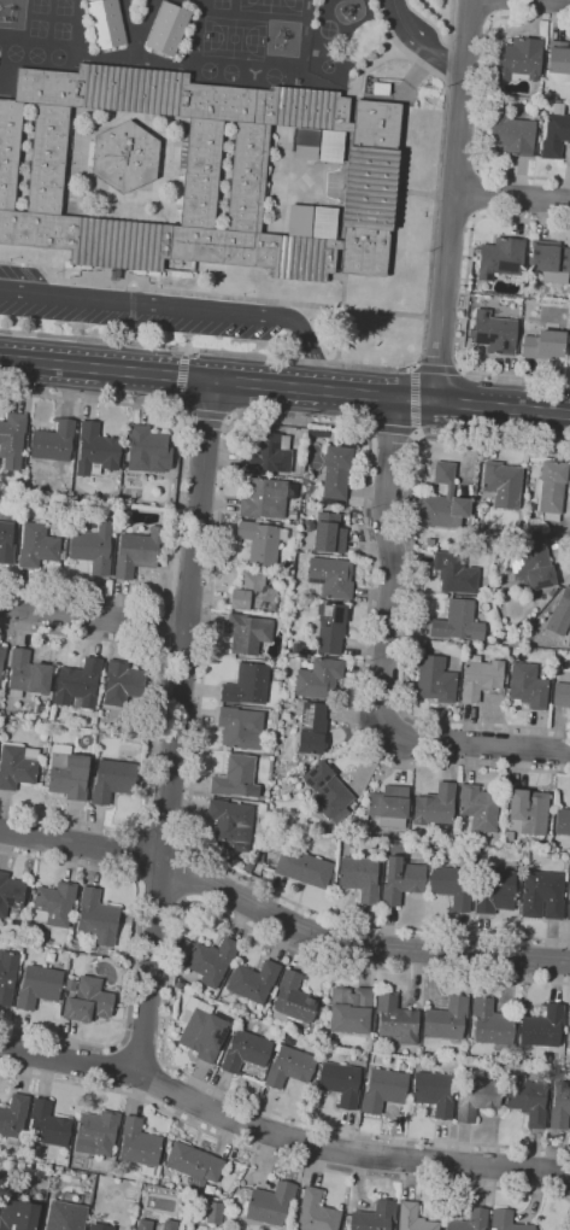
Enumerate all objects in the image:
road: (494, 8)
road: (472, 16)
building: (106, 23)
building: (168, 28)
road: (419, 42)
building: (518, 59)
building: (559, 61)
building: (381, 88)
road: (483, 99)
building: (510, 134)
building: (554, 135)
building: (331, 146)
building: (125, 157)
road: (459, 165)
building: (200, 174)
road: (477, 193)
road: (511, 195)
road: (453, 200)
road: (454, 217)
building: (324, 222)
building: (500, 257)
building: (550, 262)
road: (465, 299)
road: (184, 306)
parking lot: (145, 311)
building: (494, 333)
building: (543, 345)
road: (440, 365)
road: (390, 368)
road: (186, 380)
road: (284, 386)
road: (415, 400)
road: (208, 415)
road: (393, 430)
building: (12, 440)
building: (53, 441)
building: (147, 450)
building: (95, 451)
building: (268, 452)
building: (336, 471)
building: (501, 484)
building: (550, 488)
road: (221, 496)
road: (178, 497)
building: (263, 499)
building: (442, 502)
building: (292, 516)
building: (329, 533)
building: (260, 541)
building: (429, 541)
building: (6, 543)
building: (36, 545)
building: (93, 547)
building: (137, 551)
road: (387, 561)
building: (531, 562)
building: (288, 567)
building: (454, 573)
building: (329, 578)
road: (415, 580)
building: (550, 592)
building: (252, 593)
road: (93, 614)
building: (559, 614)
building: (457, 621)
road: (160, 622)
building: (330, 627)
building: (528, 628)
building: (247, 633)
building: (300, 648)
building: (1, 657)
building: (25, 674)
building: (318, 678)
building: (480, 678)
building: (435, 679)
building: (121, 683)
building: (78, 684)
building: (246, 685)
building: (527, 685)
building: (560, 695)
building: (40, 710)
building: (7, 720)
road: (176, 725)
building: (240, 727)
building: (311, 728)
road: (152, 730)
road: (475, 745)
building: (17, 766)
building: (67, 773)
building: (236, 778)
building: (111, 779)
building: (327, 792)
building: (433, 806)
building: (389, 807)
building: (477, 808)
building: (262, 809)
building: (527, 812)
building: (562, 821)
building: (231, 822)
building: (507, 836)
building: (524, 854)
building: (247, 866)
building: (302, 868)
building: (359, 877)
building: (400, 880)
building: (452, 885)
building: (494, 890)
building: (541, 895)
building: (569, 895)
building: (11, 896)
building: (54, 904)
building: (568, 909)
building: (96, 916)
road: (278, 918)
building: (76, 944)
road: (133, 951)
building: (210, 961)
building: (7, 977)
building: (252, 980)
building: (70, 985)
building: (37, 986)
road: (170, 992)
building: (88, 1001)
building: (293, 1001)
building: (118, 1004)
building: (349, 1009)
building: (395, 1019)
building: (446, 1019)
building: (490, 1024)
building: (542, 1026)
building: (568, 1029)
building: (202, 1033)
road: (142, 1048)
building: (245, 1052)
building: (324, 1054)
building: (288, 1067)
building: (566, 1073)
building: (340, 1083)
building: (383, 1090)
building: (434, 1093)
building: (476, 1097)
building: (527, 1101)
building: (559, 1106)
building: (13, 1115)
building: (47, 1125)
building: (96, 1132)
road: (278, 1137)
building: (168, 1142)
building: (137, 1143)
road: (280, 1158)
building: (194, 1165)
building: (221, 1196)
building: (270, 1203)
building: (316, 1212)
building: (212, 1213)
building: (17, 1216)
building: (65, 1217)
building: (374, 1217)
building: (413, 1218)
building: (294, 1219)
building: (470, 1220)
building: (505, 1220)
building: (143, 1225)
building: (169, 1225)
building: (98, 1228)

